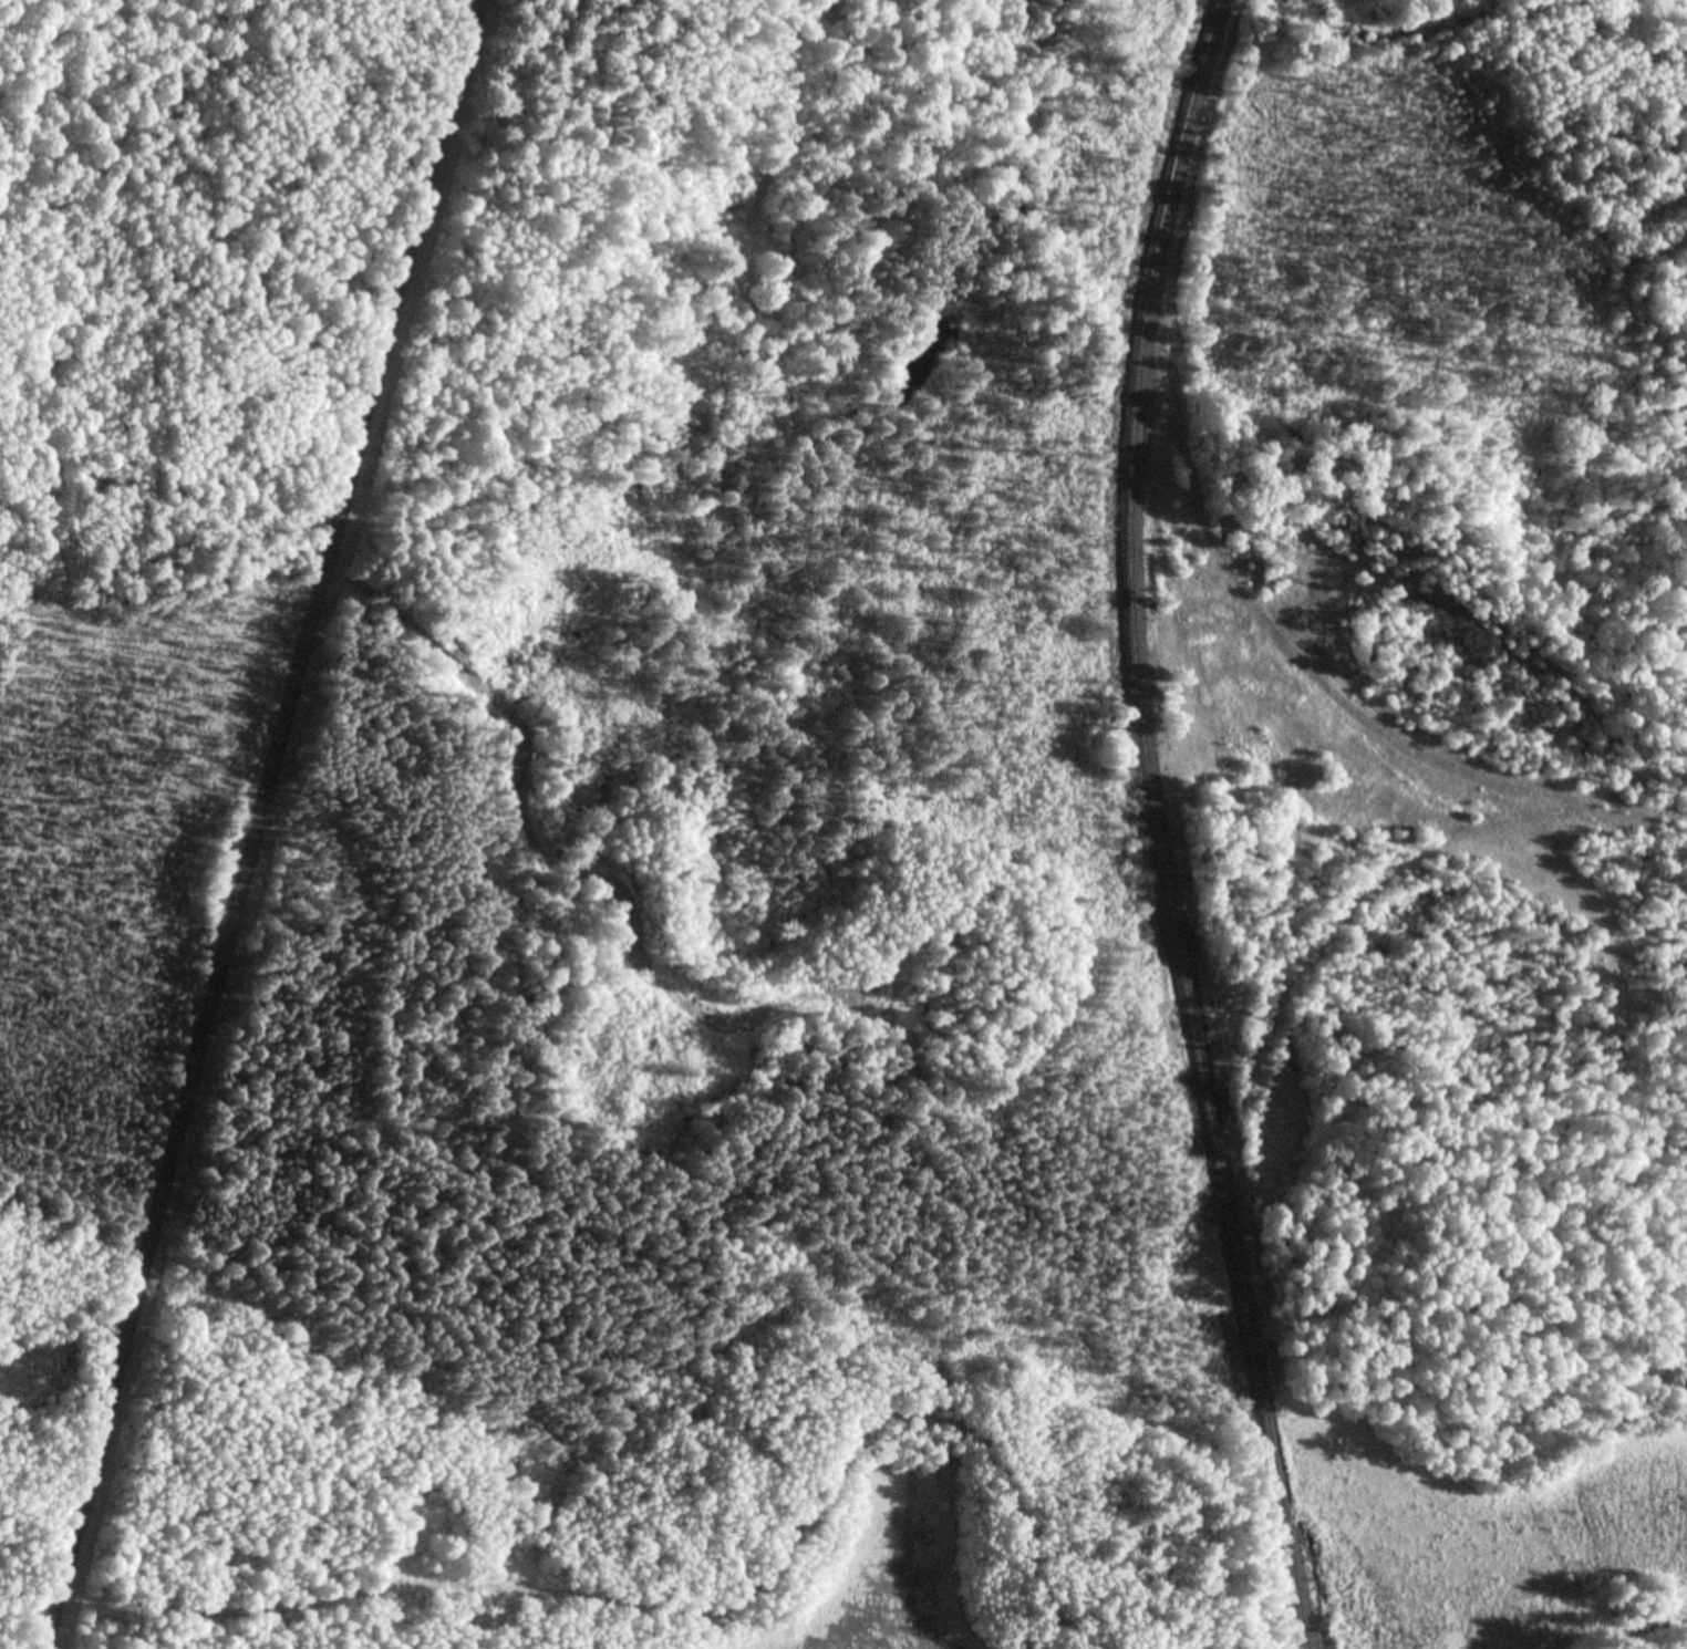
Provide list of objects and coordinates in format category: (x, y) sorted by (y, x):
road: (268, 824)
railway: (1158, 826)

